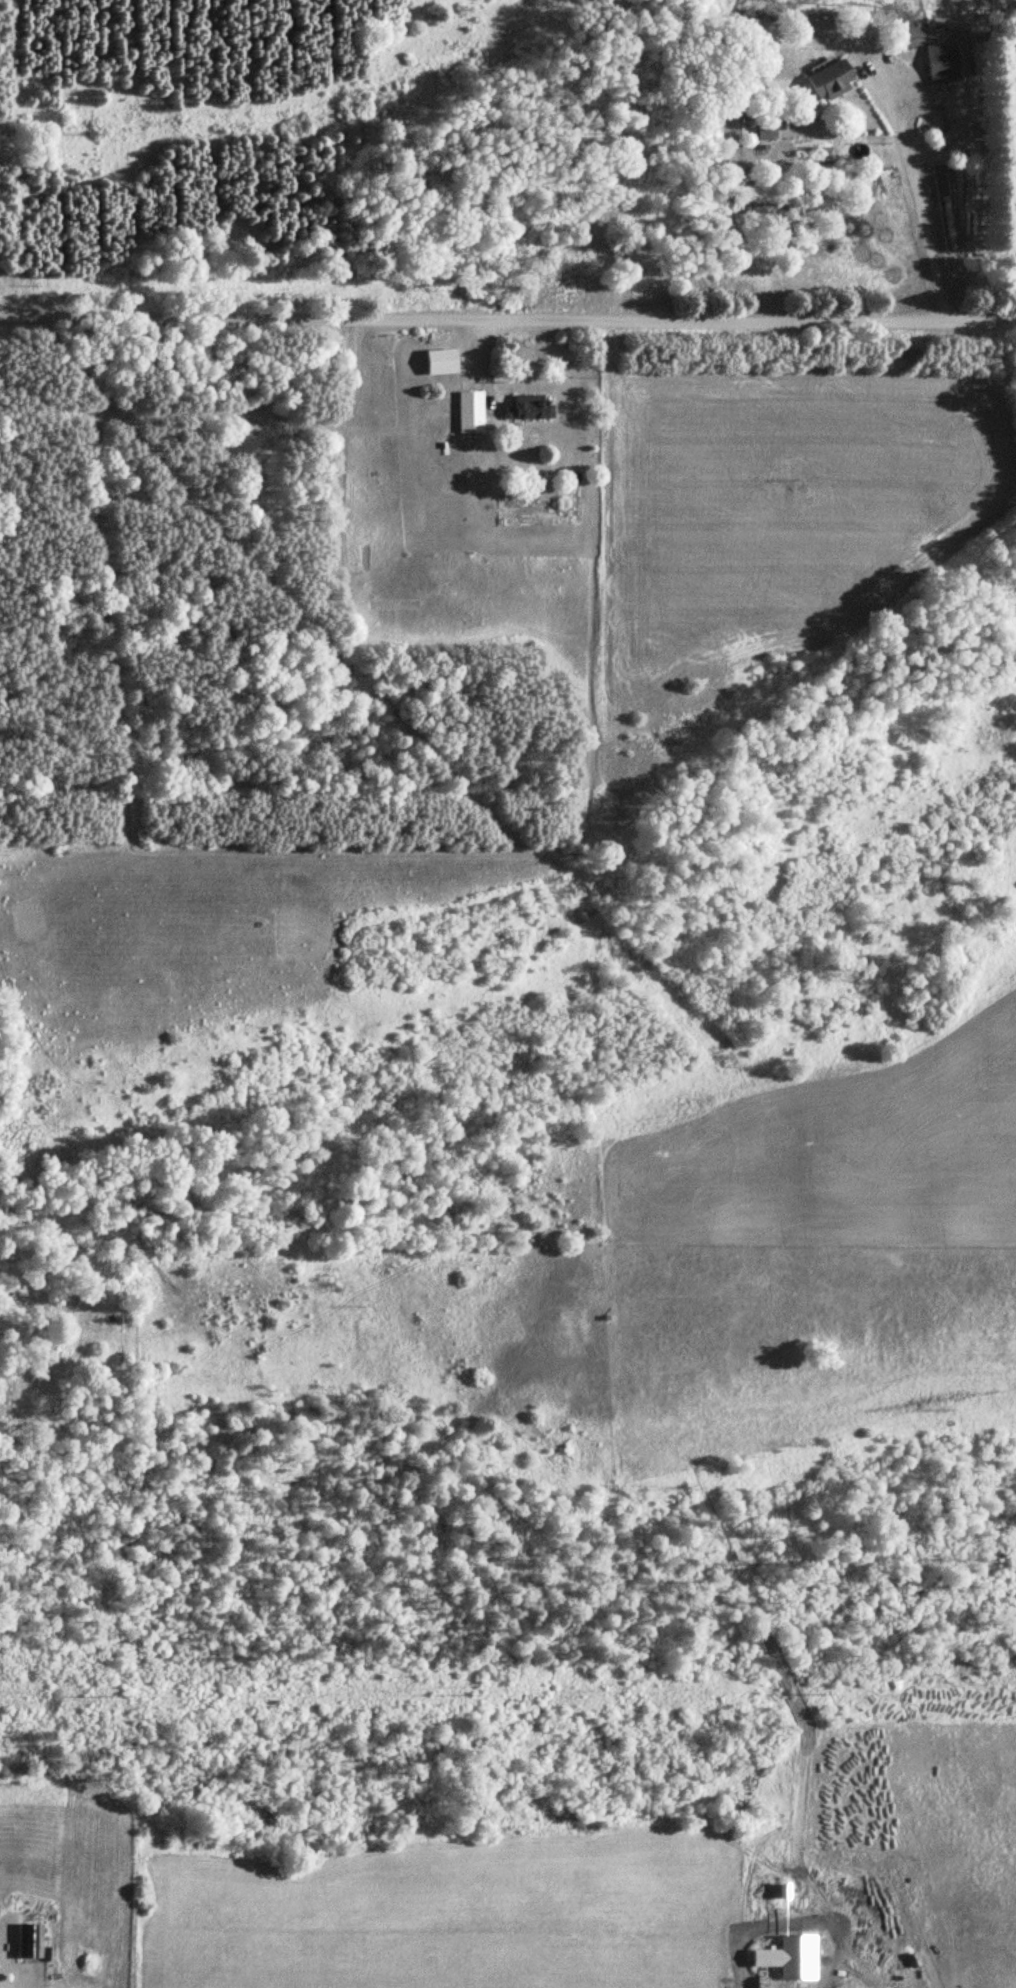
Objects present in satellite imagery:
building: (935, 59)
building: (823, 80)
road: (913, 197)
road: (746, 318)
road: (238, 320)
building: (434, 362)
building: (524, 407)
building: (466, 412)
building: (26, 1940)
building: (804, 1956)

